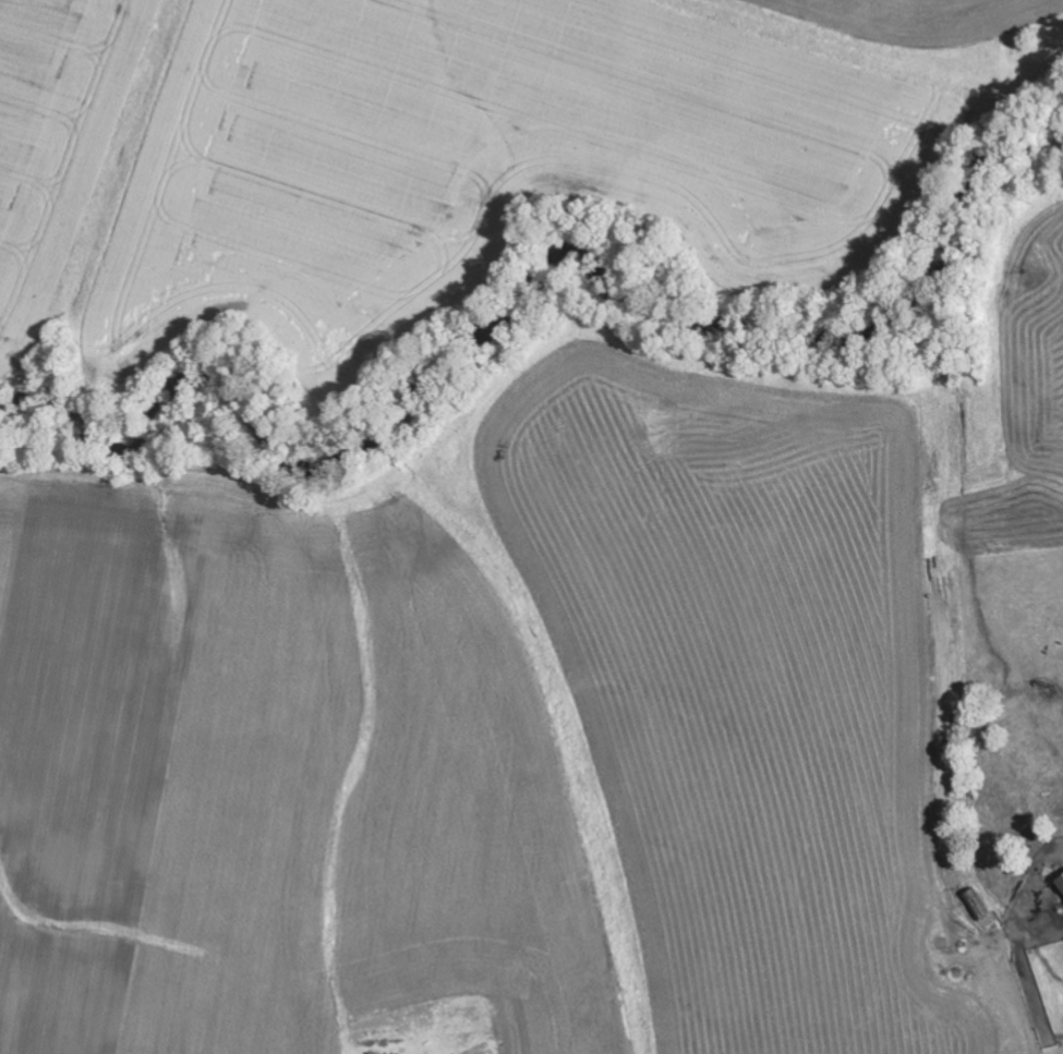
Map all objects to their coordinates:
road: (930, 964)

